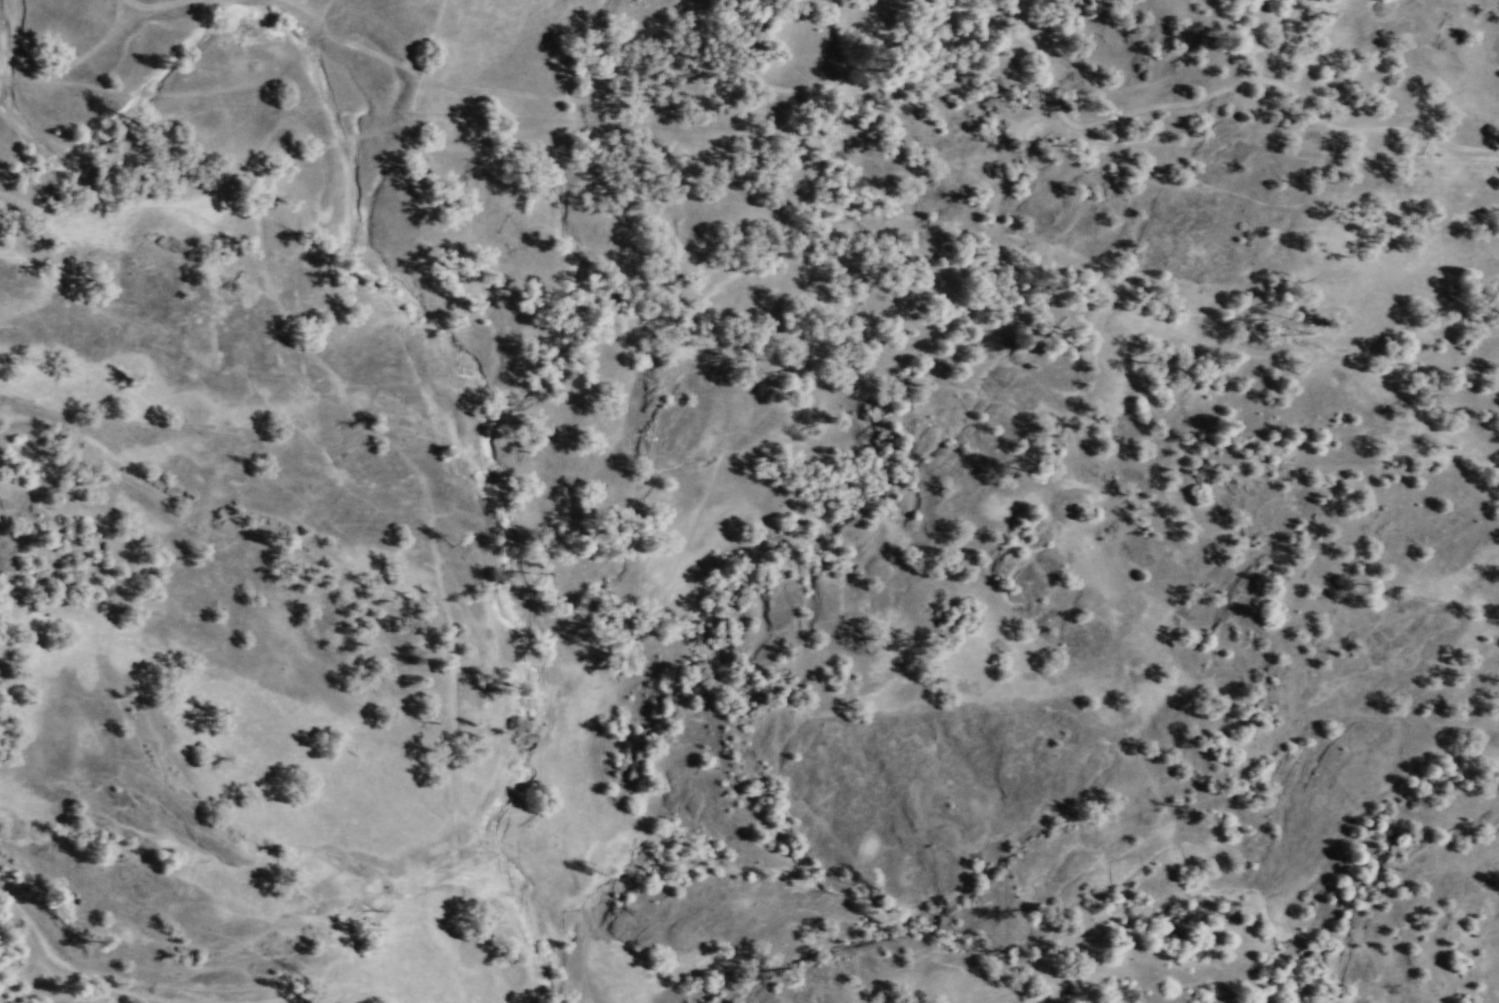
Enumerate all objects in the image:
road: (309, 5)
road: (125, 6)
road: (326, 11)
road: (106, 34)
road: (875, 85)
road: (172, 92)
road: (1424, 133)
road: (414, 471)

